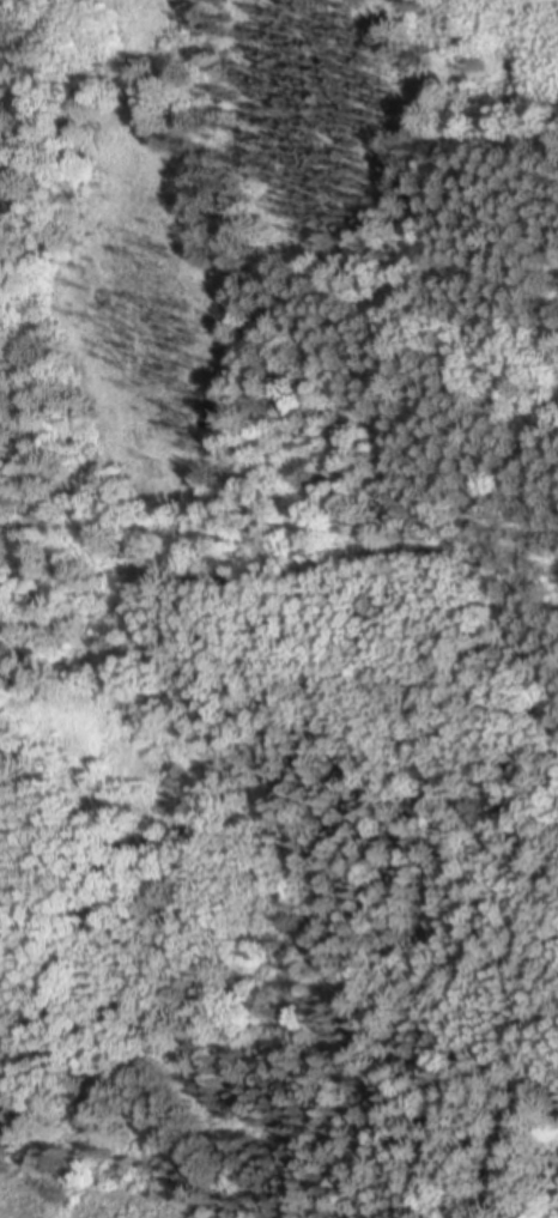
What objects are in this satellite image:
road: (495, 508)
road: (218, 584)
road: (508, 673)

